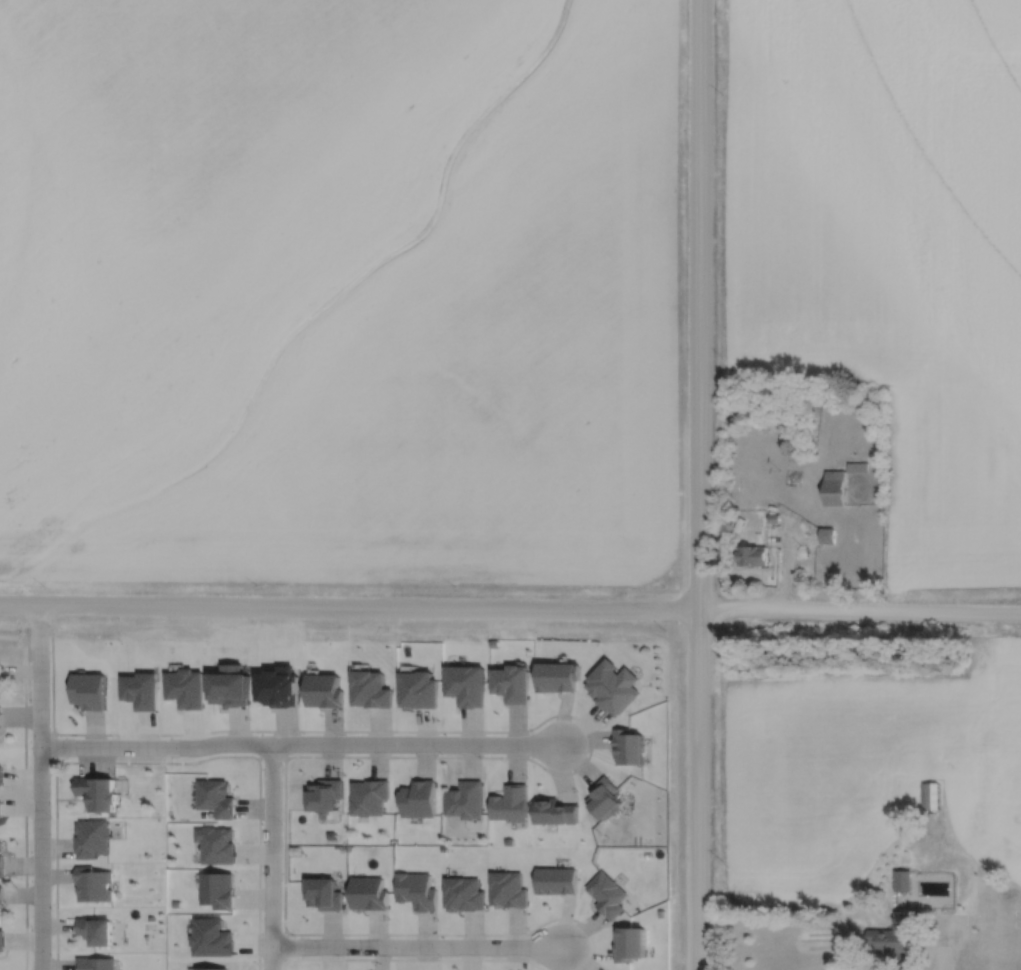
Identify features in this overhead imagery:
crop: (198, 209)
road: (696, 306)
crop: (468, 369)
building: (835, 488)
building: (753, 556)
road: (347, 608)
road: (858, 614)
building: (0, 681)
building: (0, 725)
road: (297, 744)
road: (38, 786)
road: (697, 791)
building: (97, 794)
building: (931, 796)
building: (1, 810)
road: (266, 857)
building: (94, 885)
building: (1, 895)
building: (95, 931)
building: (891, 939)
road: (414, 945)
road: (932, 959)

